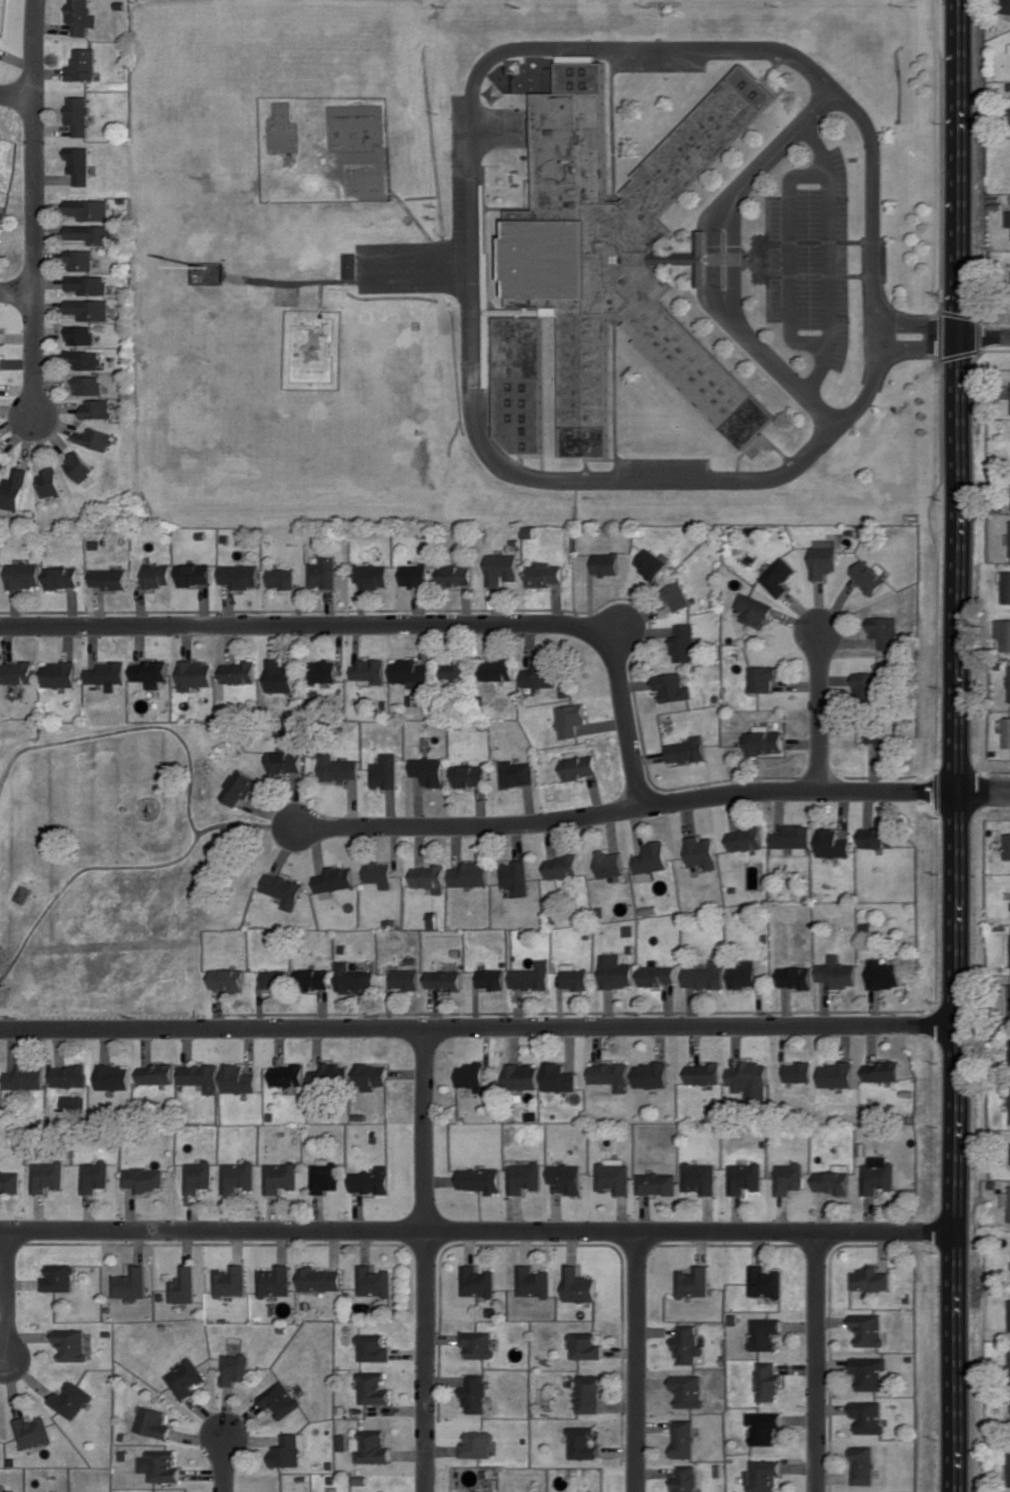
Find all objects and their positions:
building: (81, 16)
building: (1009, 48)
building: (83, 64)
road: (16, 95)
building: (78, 114)
building: (1009, 116)
road: (502, 129)
building: (0, 138)
road: (474, 148)
building: (78, 164)
road: (34, 207)
building: (88, 209)
building: (1008, 218)
building: (1, 222)
building: (90, 233)
flagpole: (754, 257)
road: (735, 259)
building: (79, 260)
road: (714, 262)
road: (790, 262)
road: (829, 262)
flagpole: (205, 265)
building: (351, 265)
building: (615, 267)
building: (86, 284)
road: (16, 293)
building: (88, 309)
road: (920, 328)
building: (79, 335)
building: (1, 337)
road: (987, 337)
road: (920, 352)
building: (84, 359)
building: (1, 363)
building: (87, 384)
building: (1005, 405)
building: (96, 408)
building: (94, 438)
building: (2, 466)
building: (79, 466)
building: (51, 483)
building: (15, 489)
building: (823, 557)
building: (606, 563)
building: (651, 563)
building: (503, 568)
building: (323, 571)
building: (195, 574)
building: (545, 574)
building: (24, 575)
building: (158, 575)
building: (240, 575)
building: (415, 575)
building: (457, 575)
building: (372, 576)
building: (778, 576)
building: (870, 576)
building: (63, 577)
building: (110, 578)
building: (282, 578)
building: (1006, 587)
building: (678, 596)
building: (754, 610)
road: (402, 623)
building: (886, 631)
building: (1004, 632)
building: (685, 643)
building: (498, 669)
building: (454, 670)
building: (323, 671)
building: (369, 671)
building: (18, 672)
building: (151, 672)
building: (239, 672)
building: (410, 672)
building: (60, 674)
building: (108, 674)
building: (195, 674)
building: (541, 674)
building: (280, 675)
building: (762, 678)
building: (869, 684)
building: (672, 687)
building: (415, 700)
road: (819, 710)
building: (571, 719)
building: (1007, 732)
building: (884, 738)
building: (765, 740)
road: (964, 746)
building: (687, 750)
building: (286, 761)
building: (580, 765)
building: (338, 767)
building: (430, 770)
building: (385, 772)
building: (517, 773)
building: (471, 775)
building: (239, 787)
road: (987, 791)
road: (632, 807)
building: (879, 836)
building: (745, 839)
building: (791, 839)
building: (833, 843)
building: (1007, 846)
building: (700, 852)
building: (651, 861)
building: (609, 863)
building: (562, 866)
park: (114, 871)
building: (379, 873)
building: (470, 874)
building: (430, 877)
building: (515, 877)
building: (334, 880)
building: (284, 889)
building: (24, 894)
building: (617, 972)
building: (836, 972)
building: (658, 974)
building: (742, 974)
building: (882, 974)
building: (706, 976)
building: (532, 977)
building: (575, 977)
building: (794, 977)
building: (312, 978)
building: (354, 978)
building: (227, 979)
building: (275, 979)
building: (405, 979)
building: (491, 979)
building: (444, 980)
road: (483, 1026)
building: (882, 1071)
building: (797, 1072)
building: (705, 1073)
building: (157, 1074)
building: (612, 1074)
building: (835, 1074)
building: (289, 1075)
building: (331, 1075)
building: (373, 1075)
building: (472, 1075)
building: (652, 1075)
building: (0, 1076)
building: (115, 1076)
building: (201, 1076)
building: (523, 1076)
building: (71, 1077)
building: (560, 1077)
building: (27, 1078)
building: (239, 1079)
building: (750, 1080)
building: (74, 1103)
building: (615, 1175)
building: (878, 1175)
building: (49, 1176)
building: (96, 1176)
building: (199, 1176)
building: (326, 1176)
building: (238, 1177)
building: (281, 1177)
building: (525, 1177)
building: (568, 1177)
building: (745, 1177)
building: (145, 1178)
building: (701, 1178)
building: (789, 1178)
building: (481, 1179)
building: (834, 1179)
building: (11, 1181)
building: (372, 1181)
building: (658, 1183)
building: (1006, 1199)
road: (483, 1230)
road: (425, 1259)
building: (60, 1278)
building: (320, 1279)
building: (871, 1279)
building: (231, 1281)
building: (275, 1281)
building: (374, 1281)
building: (476, 1281)
building: (695, 1281)
building: (532, 1282)
building: (766, 1282)
building: (131, 1283)
building: (578, 1285)
building: (184, 1286)
road: (6, 1293)
building: (869, 1328)
building: (765, 1333)
building: (73, 1344)
building: (477, 1344)
building: (585, 1345)
building: (688, 1345)
building: (373, 1348)
road: (637, 1361)
road: (818, 1362)
building: (234, 1368)
building: (870, 1372)
building: (185, 1378)
building: (768, 1381)
building: (373, 1388)
building: (689, 1390)
building: (589, 1393)
building: (475, 1394)
building: (280, 1399)
building: (73, 1400)
building: (869, 1416)
building: (153, 1422)
building: (764, 1427)
building: (35, 1432)
building: (684, 1438)
building: (584, 1443)
building: (477, 1444)
building: (371, 1446)
building: (287, 1450)
building: (1009, 1451)
road: (223, 1453)
building: (863, 1465)
building: (161, 1466)
building: (763, 1476)
building: (687, 1478)
building: (8, 1490)

